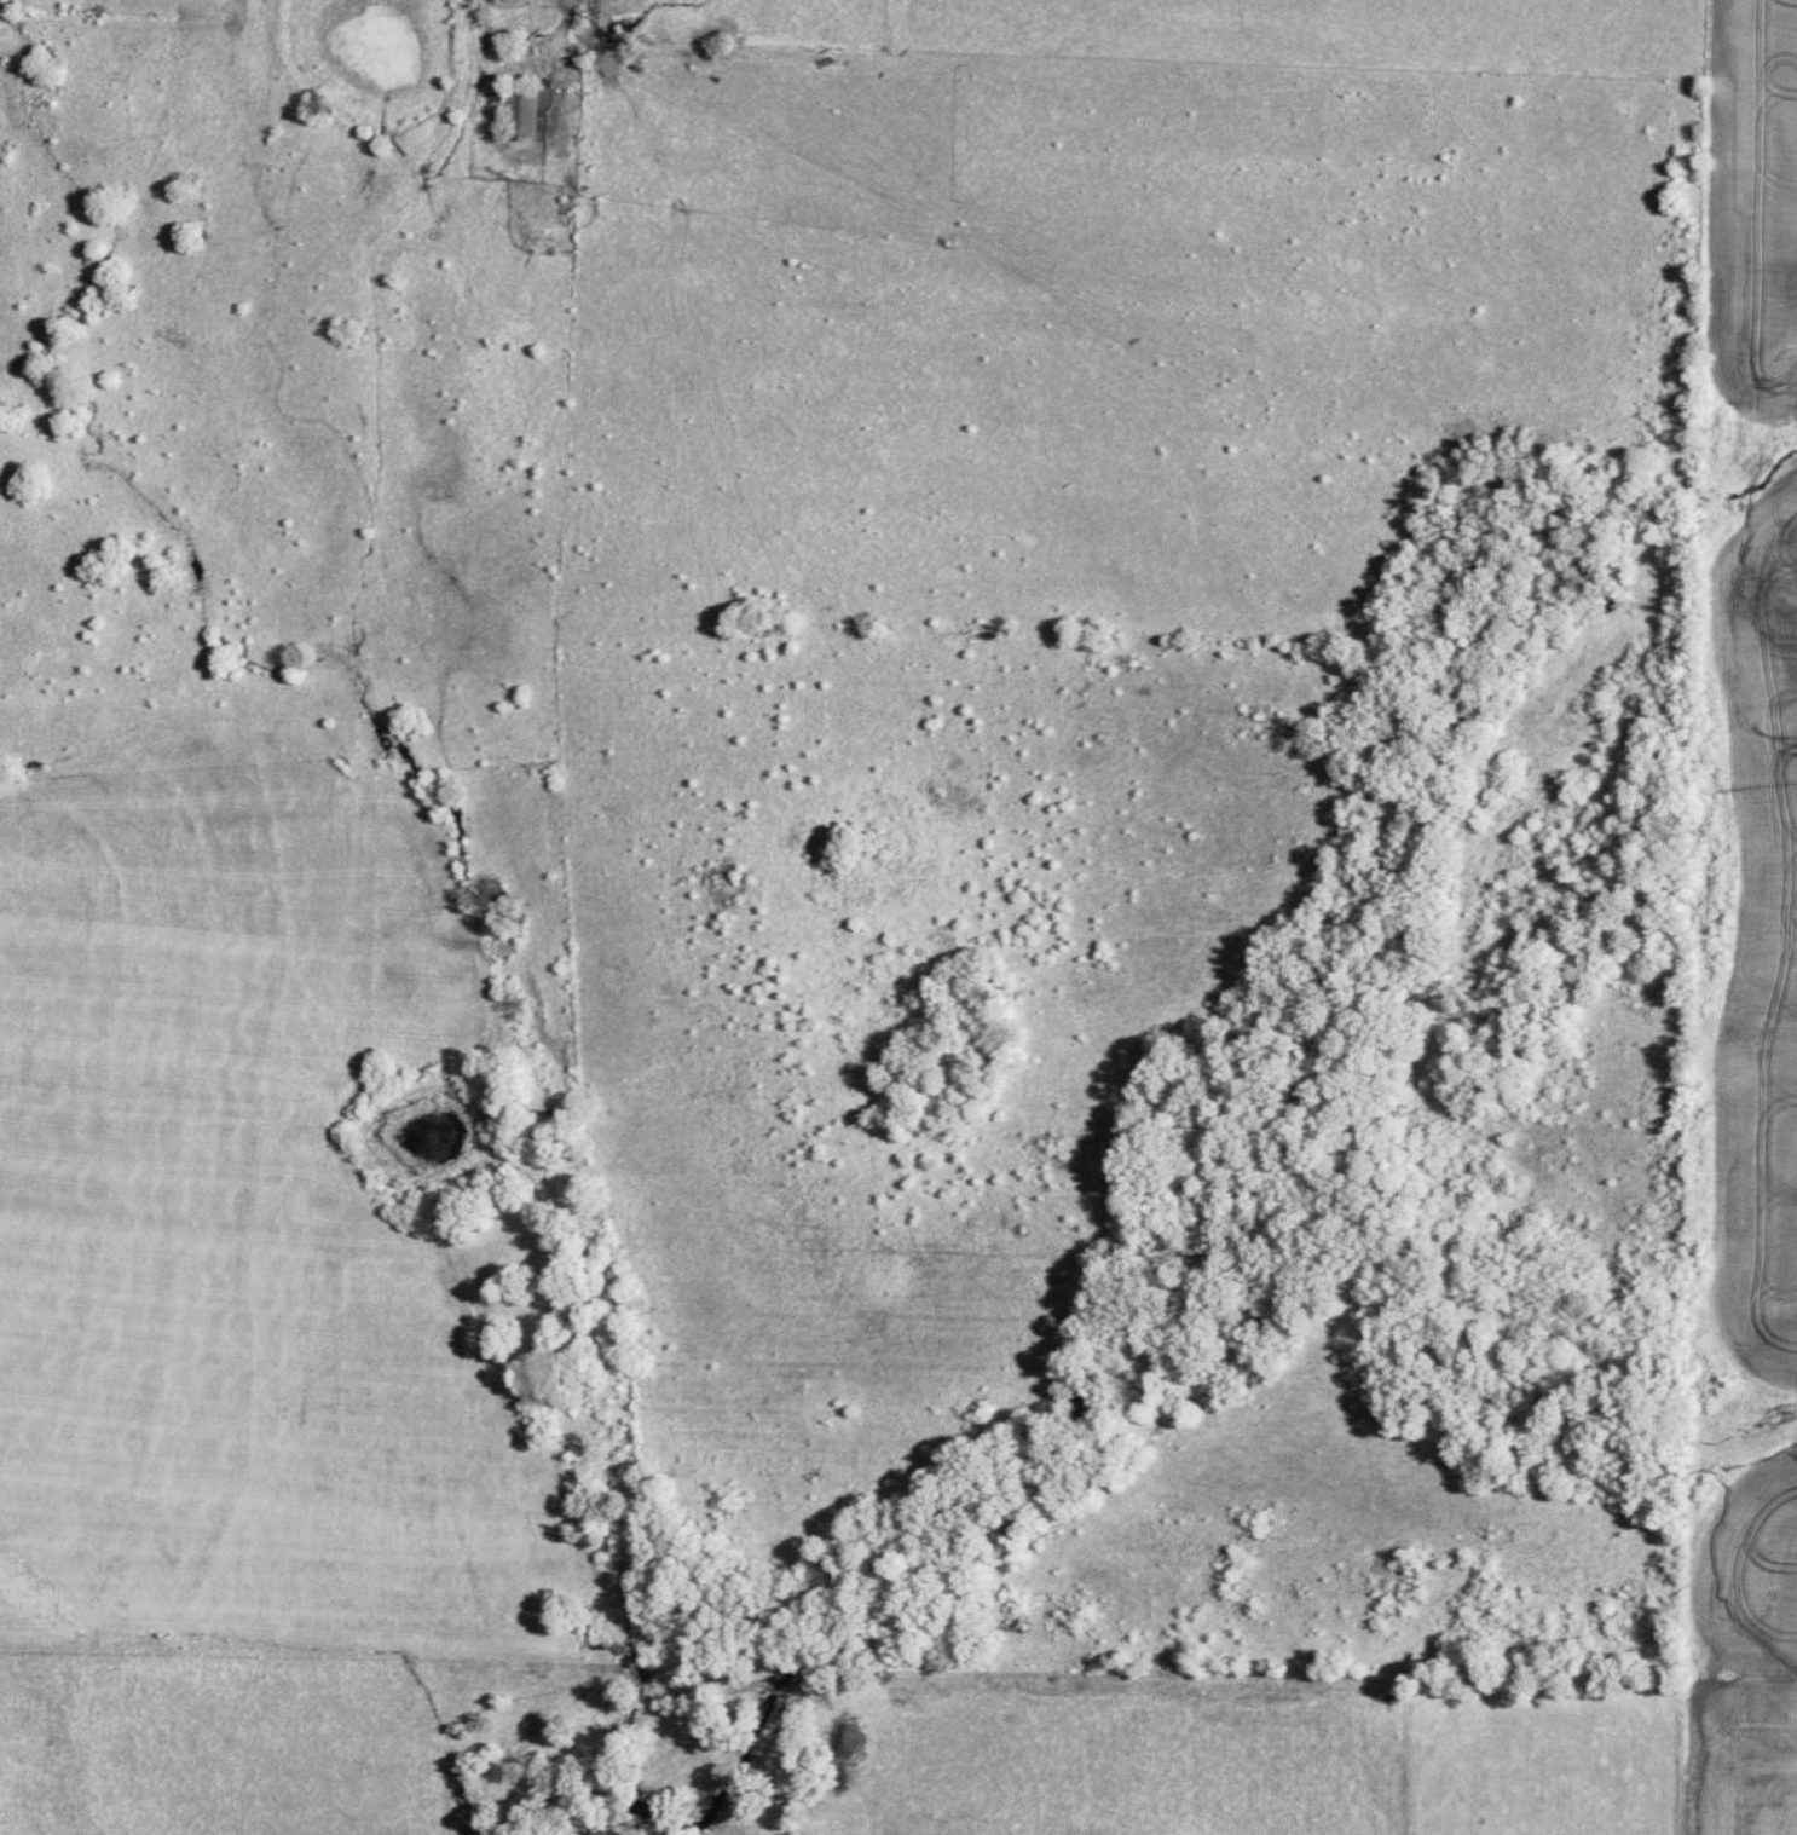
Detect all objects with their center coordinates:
building: (521, 108)

